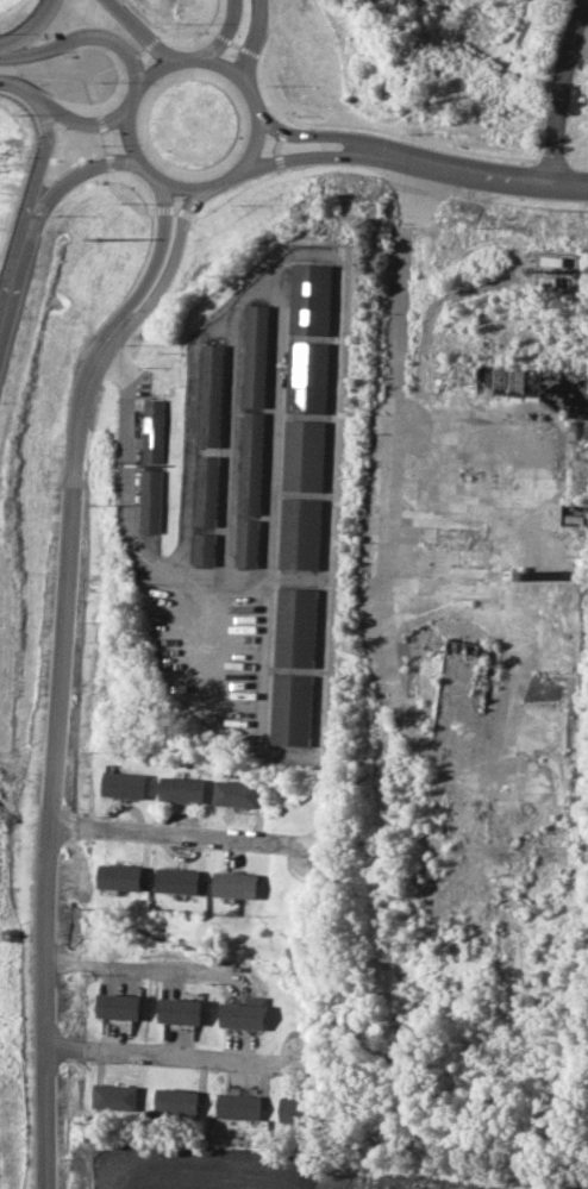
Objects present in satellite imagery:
street lamp: (177, 20)
road: (29, 29)
road: (217, 32)
road: (133, 33)
road: (81, 37)
road: (246, 43)
road: (12, 86)
road: (243, 92)
road: (552, 94)
street lamp: (14, 114)
road: (74, 123)
street lamp: (404, 134)
road: (329, 137)
road: (315, 157)
road: (38, 164)
road: (68, 176)
street lamp: (299, 179)
road: (499, 181)
street lamp: (230, 205)
street lamp: (54, 218)
power tower: (92, 240)
road: (149, 259)
road: (163, 263)
road: (10, 275)
building: (307, 299)
building: (254, 356)
building: (305, 376)
building: (209, 394)
building: (151, 430)
building: (301, 455)
building: (249, 462)
building: (206, 489)
road: (130, 490)
building: (150, 501)
building: (298, 533)
building: (245, 543)
building: (204, 549)
building: (294, 626)
building: (290, 708)
road: (50, 756)
building: (124, 784)
building: (181, 789)
building: (236, 794)
road: (176, 836)
building: (119, 877)
building: (176, 881)
building: (233, 884)
road: (139, 968)
building: (117, 1007)
building: (179, 1012)
building: (240, 1015)
road: (168, 1056)
building: (113, 1096)
building: (175, 1101)
building: (237, 1106)
building: (293, 1109)

